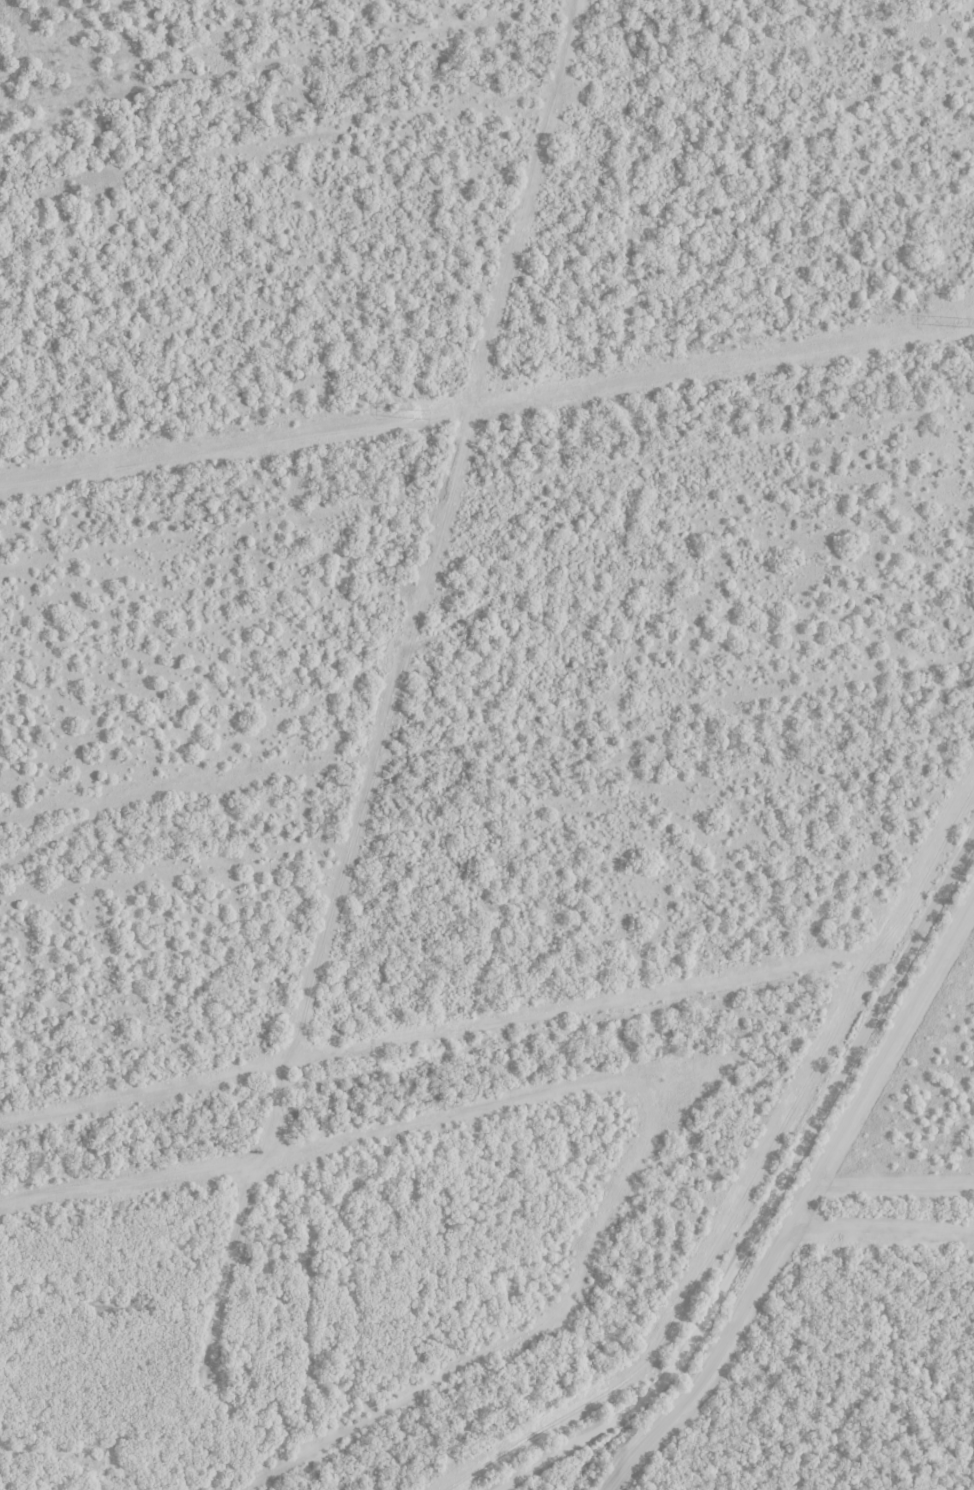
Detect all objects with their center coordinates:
power tower: (958, 322)
power tower: (415, 414)
road: (772, 1196)

